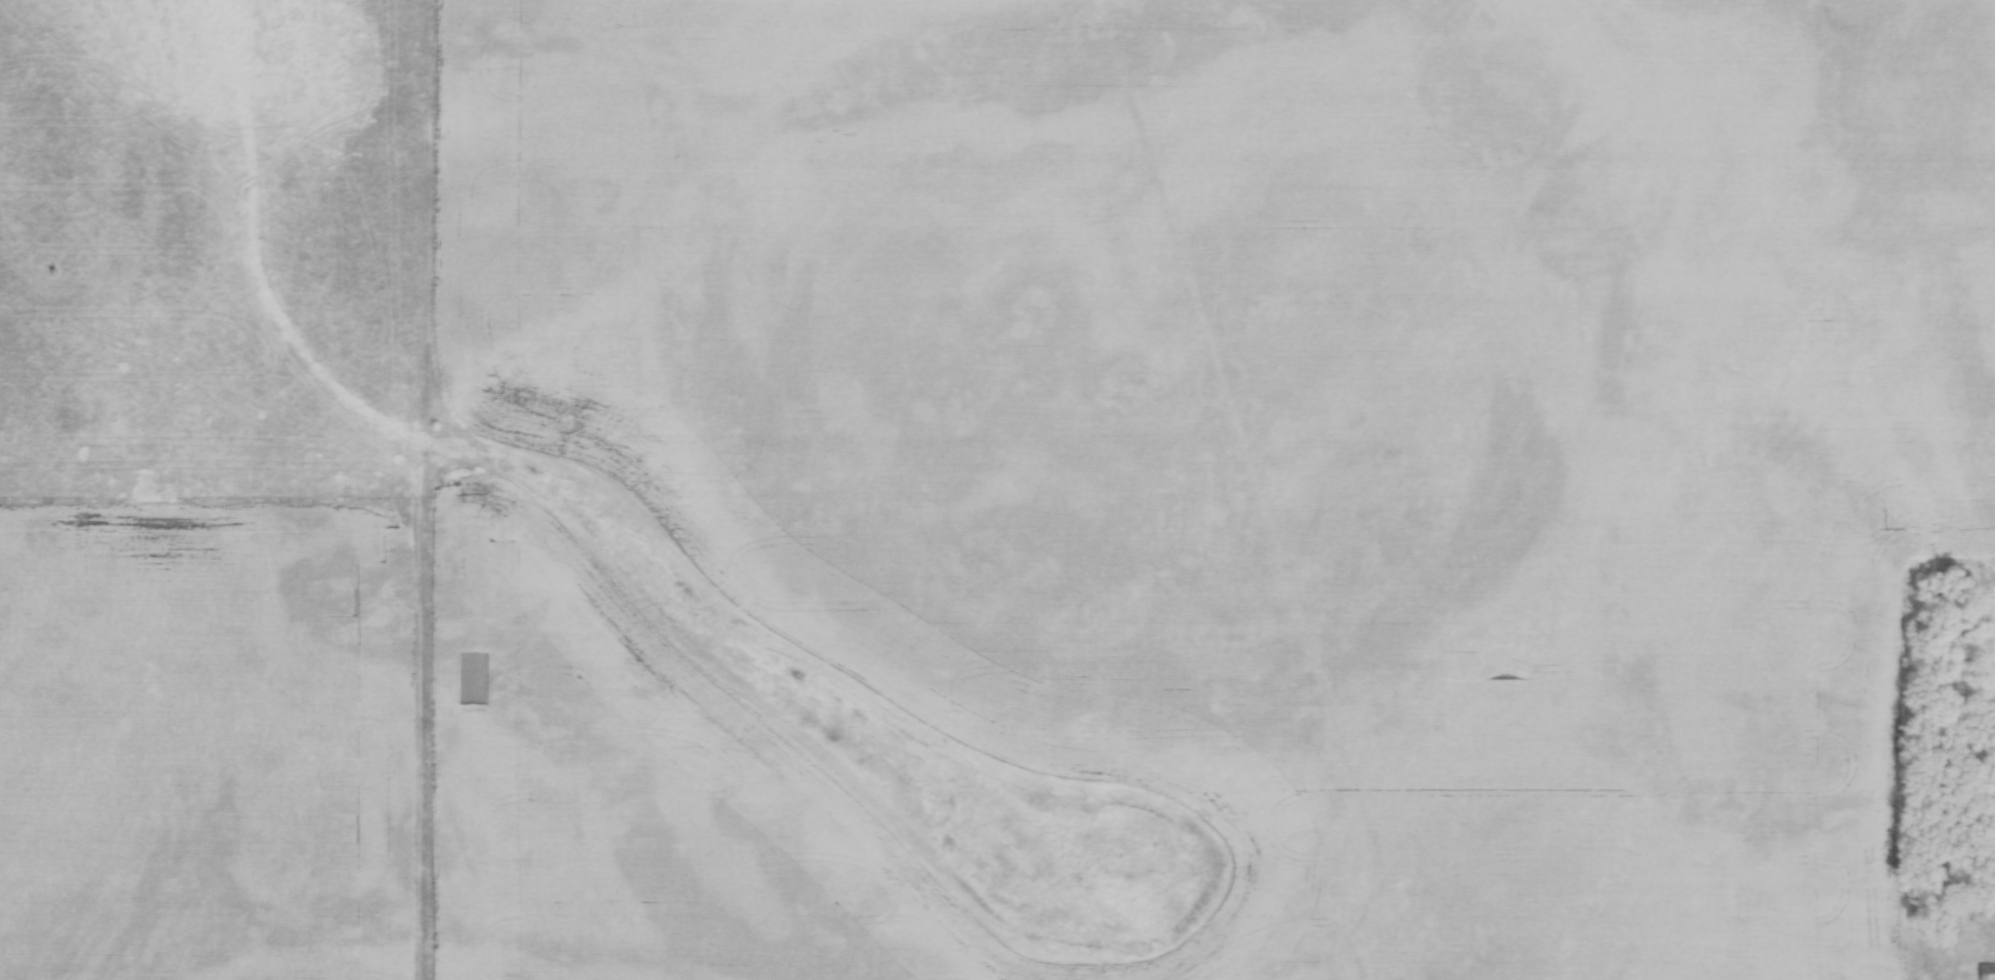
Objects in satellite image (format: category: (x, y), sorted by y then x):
building: (1984, 972)

